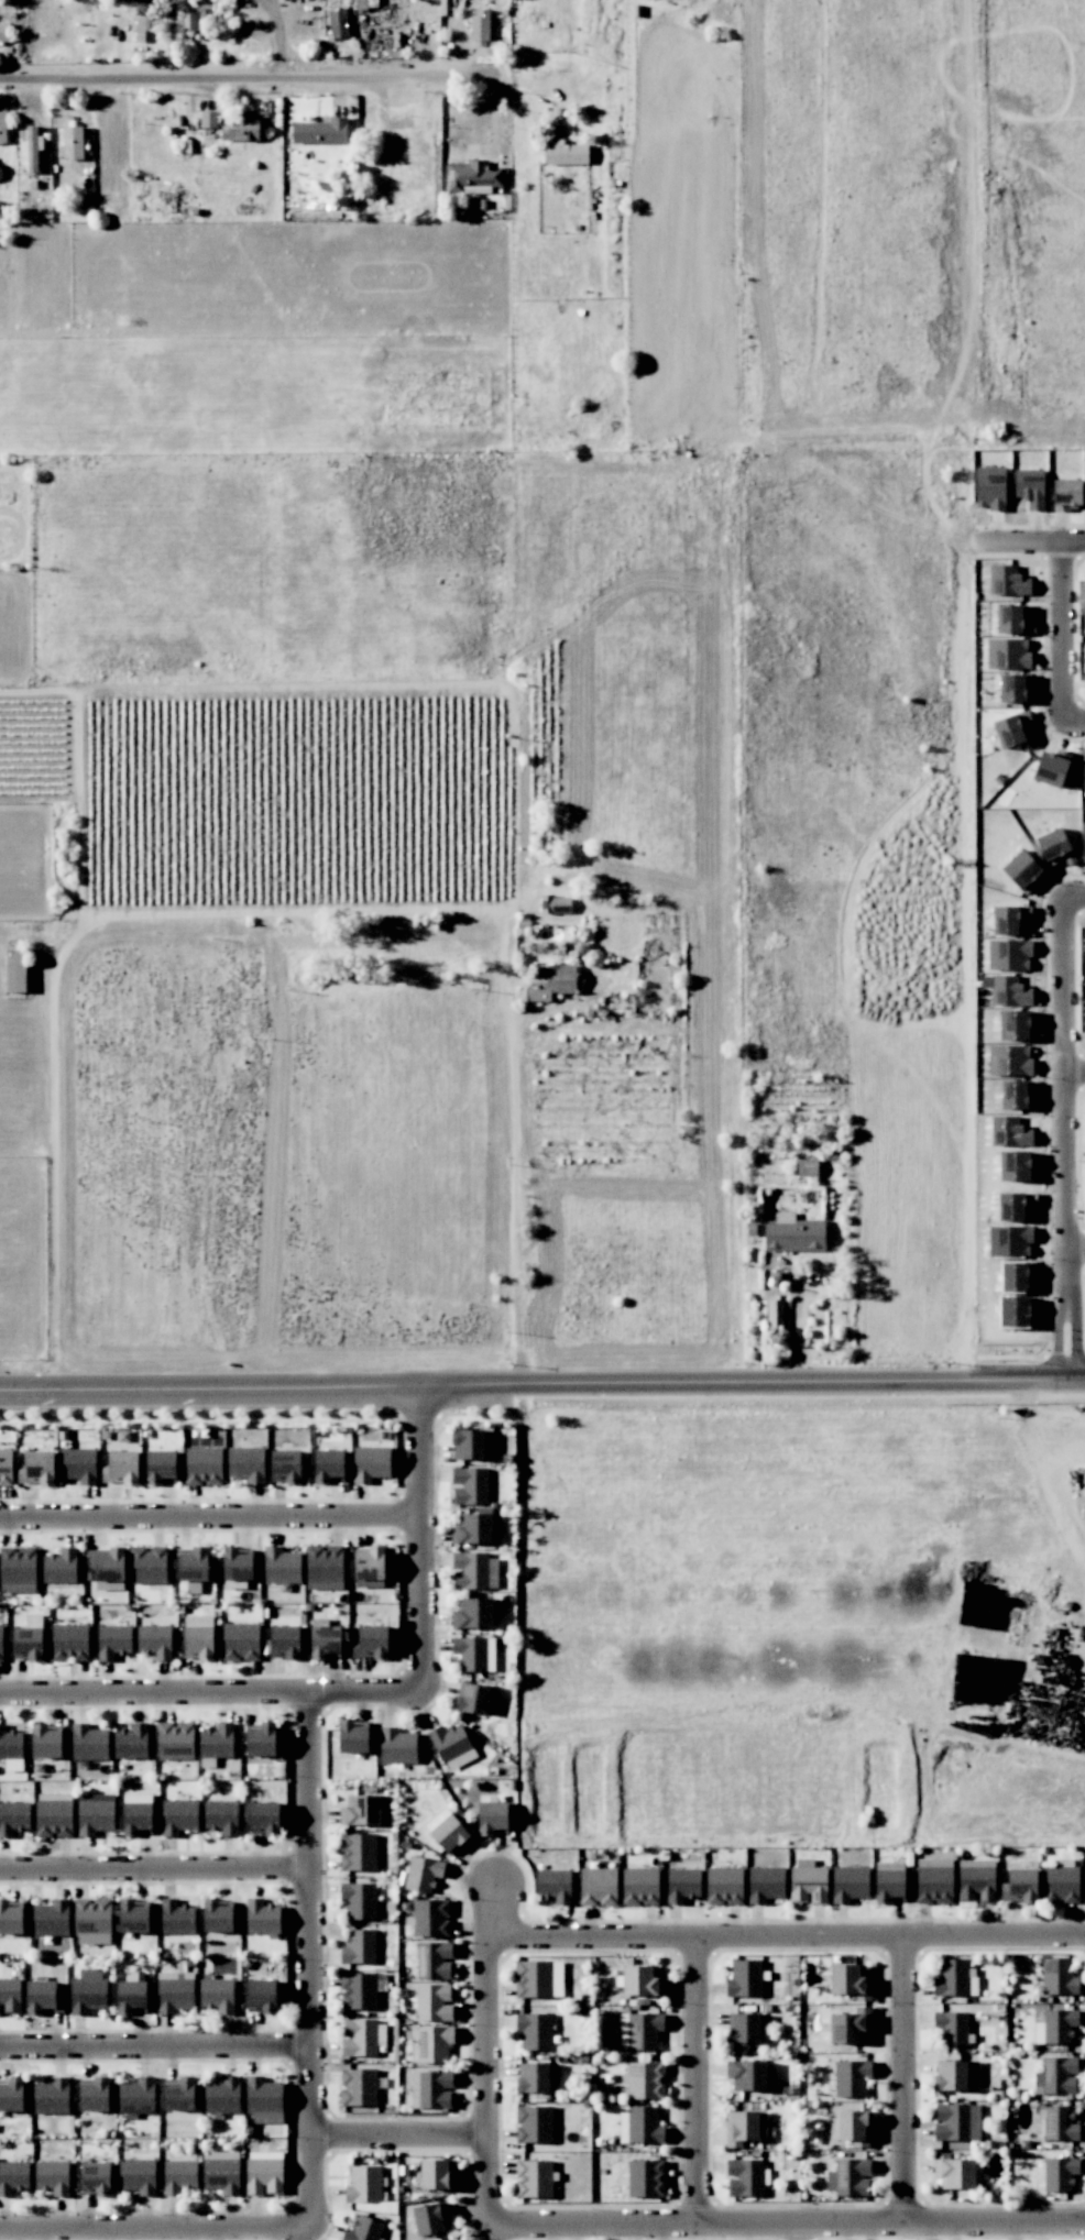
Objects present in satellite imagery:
building: (142, 19)
building: (198, 19)
building: (337, 23)
building: (479, 30)
building: (4, 32)
road: (277, 36)
road: (245, 75)
building: (208, 119)
building: (2, 128)
building: (240, 128)
building: (320, 132)
building: (72, 143)
building: (31, 147)
building: (566, 154)
building: (472, 177)
road: (1045, 536)
road: (1070, 630)
building: (1008, 731)
building: (547, 901)
building: (15, 969)
building: (523, 987)
building: (1009, 990)
building: (1015, 1024)
building: (1019, 1059)
road: (1071, 1067)
road: (1078, 1068)
building: (1015, 1095)
building: (793, 1233)
road: (1079, 1244)
building: (775, 1313)
road: (1074, 1313)
road: (796, 1326)
road: (541, 1383)
building: (472, 1443)
building: (371, 1463)
building: (78, 1464)
building: (245, 1464)
building: (284, 1464)
building: (202, 1465)
building: (329, 1465)
building: (6, 1467)
building: (121, 1467)
building: (160, 1467)
building: (36, 1468)
building: (470, 1485)
road: (210, 1517)
building: (472, 1529)
road: (420, 1536)
building: (147, 1564)
building: (193, 1564)
building: (59, 1566)
building: (237, 1566)
building: (281, 1567)
building: (107, 1568)
building: (324, 1568)
building: (369, 1569)
building: (18, 1570)
building: (473, 1570)
building: (472, 1613)
building: (284, 1636)
building: (198, 1637)
building: (154, 1640)
building: (240, 1640)
building: (1, 1641)
building: (112, 1641)
building: (325, 1641)
building: (68, 1643)
building: (370, 1643)
building: (28, 1644)
building: (473, 1652)
road: (210, 1688)
building: (472, 1699)
building: (353, 1737)
building: (261, 1739)
building: (175, 1741)
building: (46, 1742)
building: (131, 1742)
building: (88, 1743)
building: (215, 1744)
building: (396, 1746)
building: (452, 1746)
building: (11, 1748)
building: (364, 1810)
building: (95, 1813)
building: (53, 1814)
building: (178, 1816)
building: (220, 1816)
building: (264, 1816)
building: (13, 1818)
building: (492, 1818)
building: (136, 1819)
building: (447, 1831)
building: (358, 1852)
road: (155, 1867)
building: (423, 1874)
building: (359, 1900)
building: (92, 1914)
building: (132, 1917)
building: (176, 1917)
building: (217, 1917)
building: (261, 1917)
building: (10, 1918)
building: (430, 1918)
building: (51, 1919)
road: (786, 1936)
building: (359, 1946)
road: (310, 1957)
building: (434, 1959)
building: (519, 1978)
building: (360, 1989)
building: (87, 1991)
building: (175, 1991)
building: (217, 1994)
building: (9, 1995)
building: (261, 1996)
building: (43, 1997)
building: (131, 1997)
building: (434, 2002)
building: (522, 2028)
building: (362, 2036)
building: (434, 2043)
road: (155, 2046)
road: (486, 2053)
building: (522, 2077)
building: (855, 2078)
road: (905, 2079)
road: (694, 2080)
building: (358, 2087)
building: (12, 2095)
building: (94, 2095)
building: (136, 2095)
building: (51, 2097)
building: (221, 2097)
building: (263, 2099)
building: (520, 2123)
road: (398, 2134)
building: (221, 2172)
building: (263, 2172)
building: (437, 2174)
building: (178, 2175)
building: (13, 2176)
building: (52, 2176)
building: (138, 2176)
building: (95, 2178)
building: (520, 2178)
building: (363, 2184)
building: (429, 2218)
road: (786, 2223)
road: (155, 2228)
building: (363, 2229)
road: (796, 2231)
building: (451, 2239)

